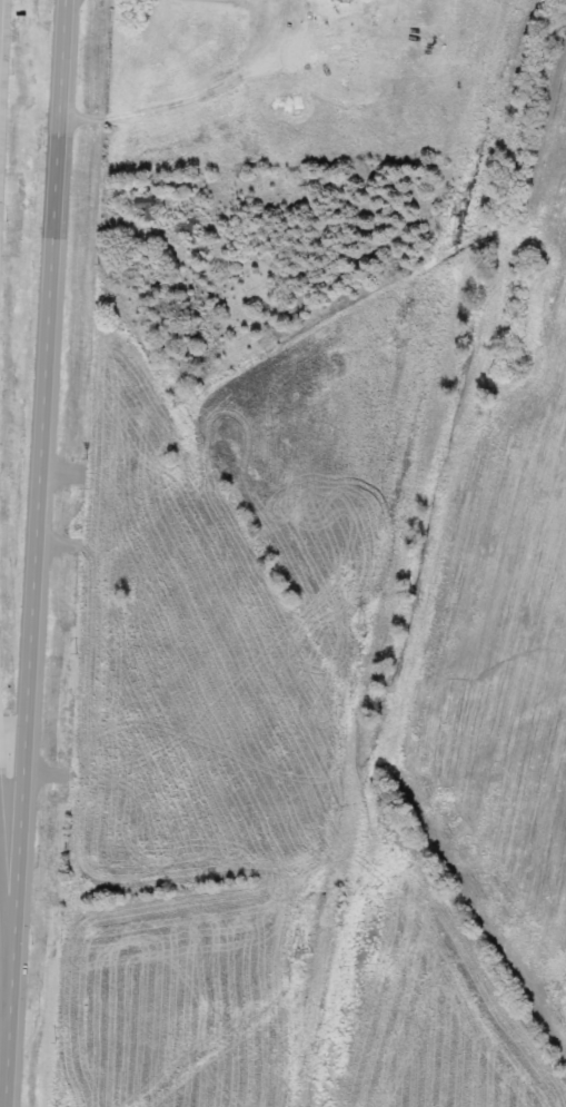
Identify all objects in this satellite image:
building: (27, 164)
building: (147, 210)
building: (7, 217)
power tower: (456, 235)
road: (34, 553)
power tower: (366, 625)
crop: (504, 626)
road: (6, 909)
power tower: (297, 955)

